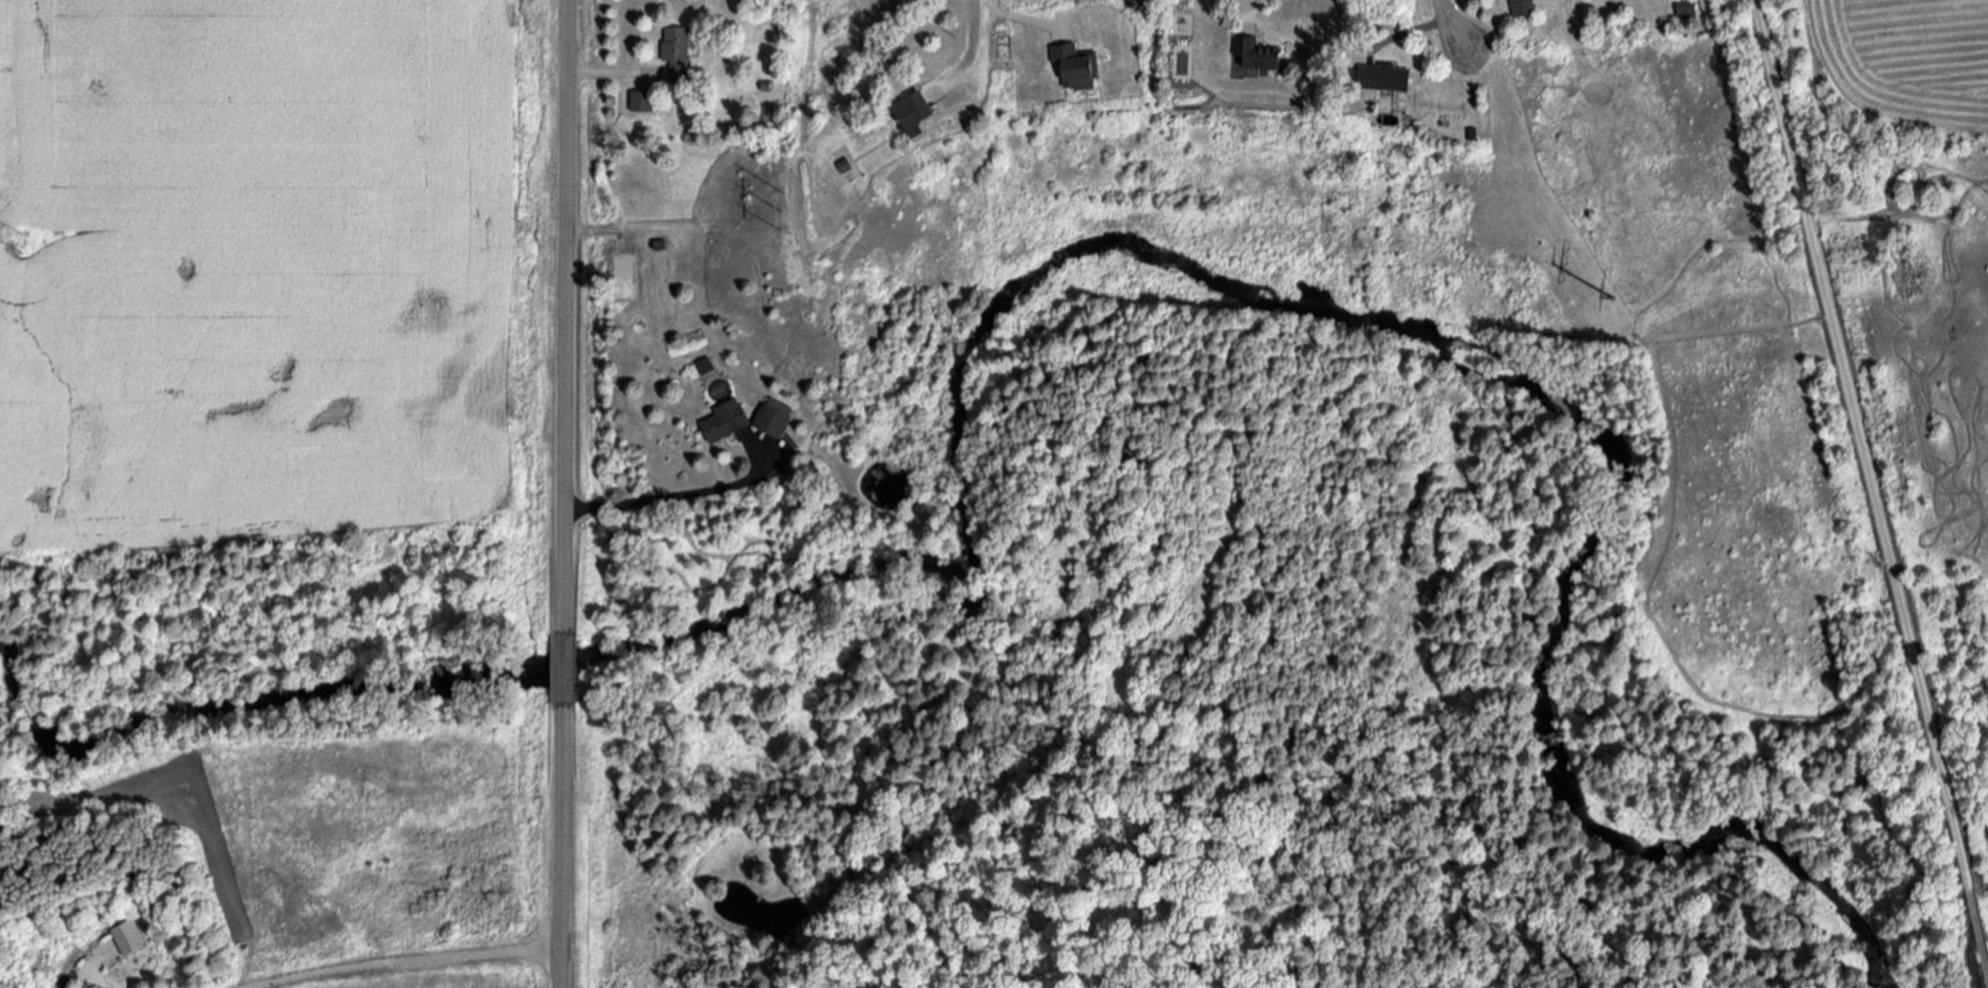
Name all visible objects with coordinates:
road: (1247, 2)
building: (1523, 7)
building: (1689, 8)
road: (1017, 17)
road: (1448, 22)
building: (678, 52)
building: (1264, 53)
road: (980, 56)
building: (1082, 66)
road: (607, 73)
building: (1389, 77)
building: (643, 101)
building: (919, 111)
power tower: (784, 215)
power tower: (21, 242)
river: (1096, 265)
road: (564, 271)
power tower: (1631, 294)
building: (775, 417)
building: (726, 420)
road: (1853, 421)
road: (671, 500)
road: (562, 618)
road: (561, 840)
road: (1972, 907)
building: (130, 938)
road: (407, 961)
road: (90, 981)

